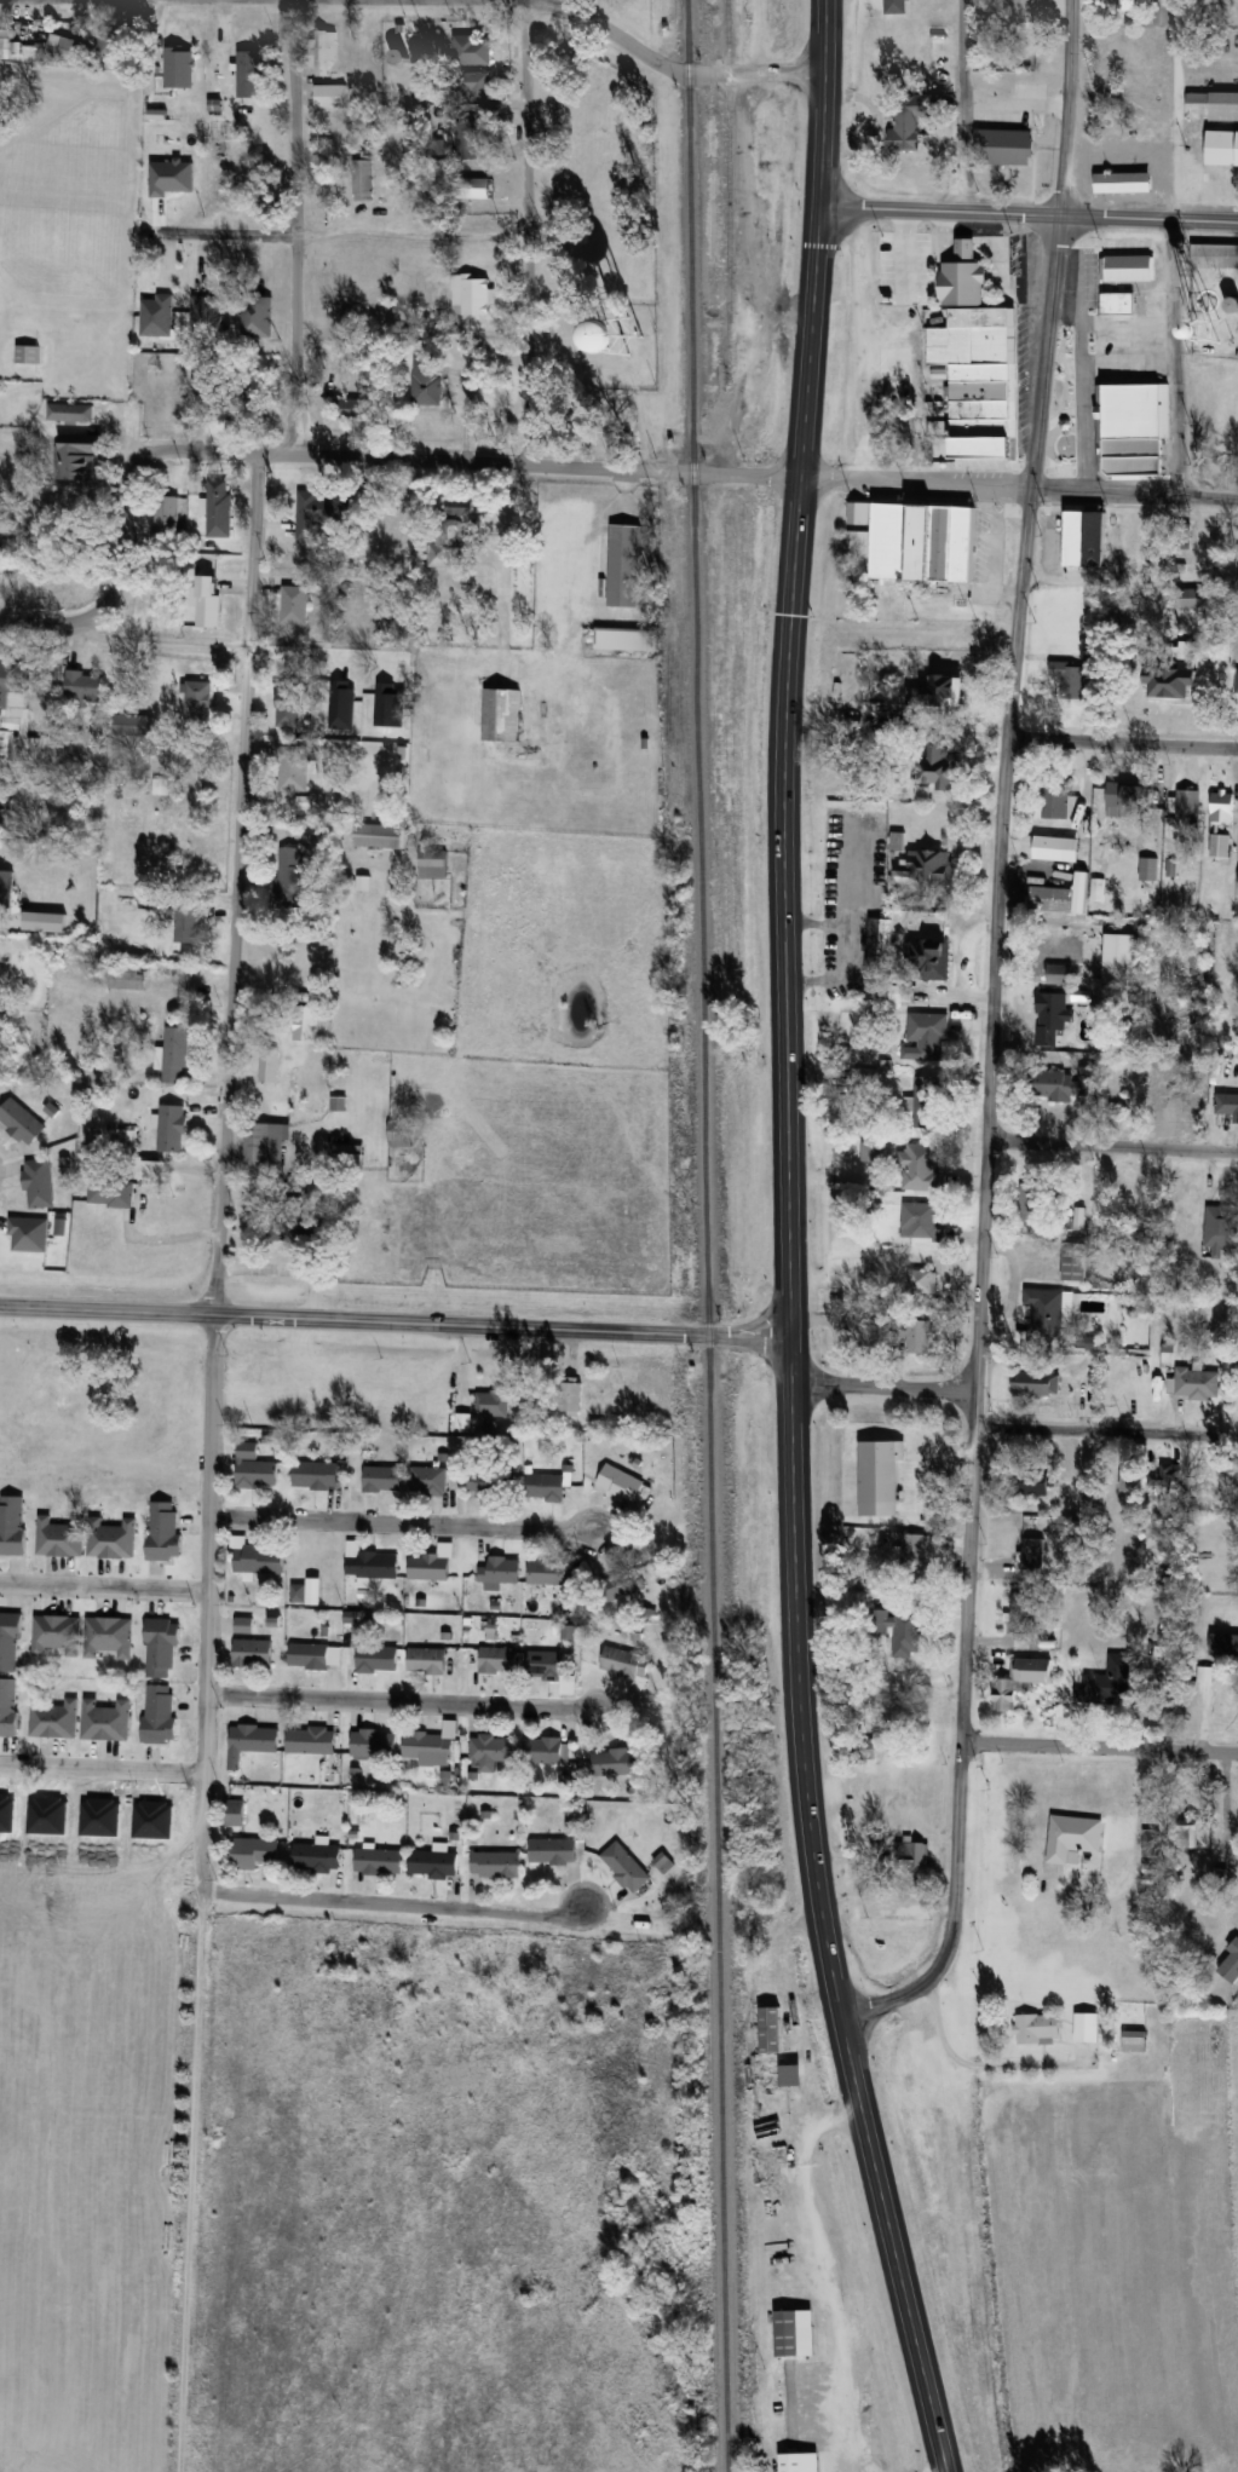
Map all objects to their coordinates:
building: (981, 1)
building: (1025, 2)
building: (1128, 5)
building: (896, 6)
building: (1161, 12)
building: (223, 33)
building: (942, 39)
building: (116, 46)
building: (5, 47)
building: (67, 48)
building: (471, 48)
building: (323, 52)
building: (399, 57)
road: (670, 67)
building: (178, 68)
building: (248, 74)
building: (473, 85)
building: (329, 96)
road: (1010, 102)
road: (954, 104)
building: (1213, 106)
road: (1066, 108)
building: (909, 119)
building: (467, 138)
road: (1117, 146)
building: (1006, 148)
building: (1221, 148)
building: (364, 174)
building: (1109, 181)
building: (478, 188)
road: (939, 208)
road: (752, 212)
road: (1147, 219)
road: (294, 227)
road: (344, 230)
road: (525, 232)
road: (1174, 247)
building: (1215, 255)
building: (1130, 267)
building: (965, 277)
building: (473, 296)
building: (1207, 300)
building: (1118, 312)
building: (257, 316)
road: (863, 344)
road: (1044, 352)
building: (27, 355)
building: (750, 370)
building: (979, 380)
road: (1073, 380)
building: (172, 382)
building: (425, 384)
building: (240, 405)
building: (353, 409)
building: (70, 413)
building: (1135, 430)
building: (75, 445)
road: (451, 462)
road: (1134, 492)
building: (219, 509)
building: (319, 513)
building: (166, 518)
building: (450, 535)
building: (1086, 535)
building: (920, 540)
road: (503, 558)
building: (624, 564)
building: (1199, 598)
building: (208, 601)
building: (294, 605)
road: (605, 612)
building: (627, 638)
road: (163, 645)
road: (315, 651)
building: (1072, 682)
building: (1175, 682)
building: (289, 684)
building: (84, 688)
building: (939, 691)
building: (198, 699)
building: (501, 714)
building: (17, 720)
building: (134, 725)
road: (1123, 739)
building: (290, 767)
building: (944, 767)
building: (159, 786)
building: (1130, 799)
building: (5, 803)
building: (1056, 806)
building: (1222, 806)
building: (1188, 808)
building: (379, 835)
building: (1220, 845)
building: (1056, 847)
building: (432, 863)
building: (927, 864)
building: (1147, 868)
building: (290, 876)
building: (1098, 878)
road: (235, 883)
building: (1053, 898)
building: (189, 923)
road: (997, 940)
building: (877, 951)
building: (1119, 956)
building: (928, 958)
building: (1060, 973)
road: (784, 1014)
building: (1050, 1016)
building: (304, 1022)
building: (926, 1036)
building: (175, 1053)
building: (269, 1065)
building: (1063, 1084)
building: (1176, 1096)
building: (926, 1101)
building: (338, 1102)
building: (1226, 1102)
building: (21, 1122)
building: (172, 1128)
building: (399, 1130)
building: (266, 1141)
road: (1112, 1147)
building: (870, 1152)
building: (347, 1156)
building: (919, 1166)
building: (39, 1183)
building: (272, 1187)
building: (110, 1191)
building: (1041, 1200)
building: (1128, 1202)
building: (921, 1222)
building: (1220, 1227)
building: (298, 1228)
railway: (706, 1235)
building: (1075, 1263)
building: (922, 1281)
building: (1050, 1310)
road: (401, 1323)
building: (919, 1336)
building: (1033, 1381)
building: (1197, 1383)
road: (881, 1387)
building: (571, 1400)
building: (491, 1402)
road: (1106, 1430)
building: (255, 1468)
building: (1231, 1471)
building: (316, 1475)
building: (1129, 1475)
building: (1164, 1475)
building: (382, 1479)
building: (427, 1479)
building: (1031, 1480)
building: (620, 1482)
building: (491, 1483)
building: (545, 1488)
road: (401, 1522)
building: (1067, 1523)
building: (12, 1525)
building: (165, 1532)
building: (61, 1537)
building: (110, 1538)
building: (914, 1548)
building: (1033, 1558)
building: (259, 1560)
building: (369, 1562)
building: (431, 1565)
building: (501, 1572)
building: (547, 1572)
building: (618, 1584)
road: (104, 1586)
building: (306, 1592)
road: (207, 1602)
building: (1021, 1612)
building: (905, 1632)
building: (57, 1636)
building: (108, 1637)
building: (10, 1642)
building: (162, 1648)
building: (1220, 1650)
building: (253, 1652)
building: (313, 1655)
building: (378, 1658)
building: (426, 1659)
building: (497, 1659)
building: (624, 1663)
building: (545, 1665)
building: (1020, 1681)
building: (1110, 1682)
road: (401, 1700)
building: (7, 1706)
building: (160, 1713)
building: (53, 1718)
building: (105, 1719)
road: (961, 1736)
building: (311, 1739)
building: (251, 1741)
building: (374, 1744)
building: (431, 1746)
road: (1099, 1746)
building: (543, 1750)
building: (490, 1751)
building: (615, 1762)
road: (102, 1768)
road: (1226, 1810)
building: (235, 1813)
building: (1204, 1833)
building: (1072, 1838)
building: (1153, 1843)
building: (255, 1850)
building: (553, 1851)
building: (910, 1854)
building: (317, 1856)
building: (379, 1861)
road: (1134, 1862)
building: (434, 1863)
building: (496, 1865)
building: (624, 1866)
road: (392, 1906)
building: (1230, 1964)
building: (1086, 2027)
building: (1037, 2028)
building: (771, 2030)
building: (1134, 2041)
road: (958, 2055)
building: (787, 2075)
road: (191, 2182)
road: (894, 2248)
road: (818, 2270)
building: (795, 2334)
building: (800, 2462)

